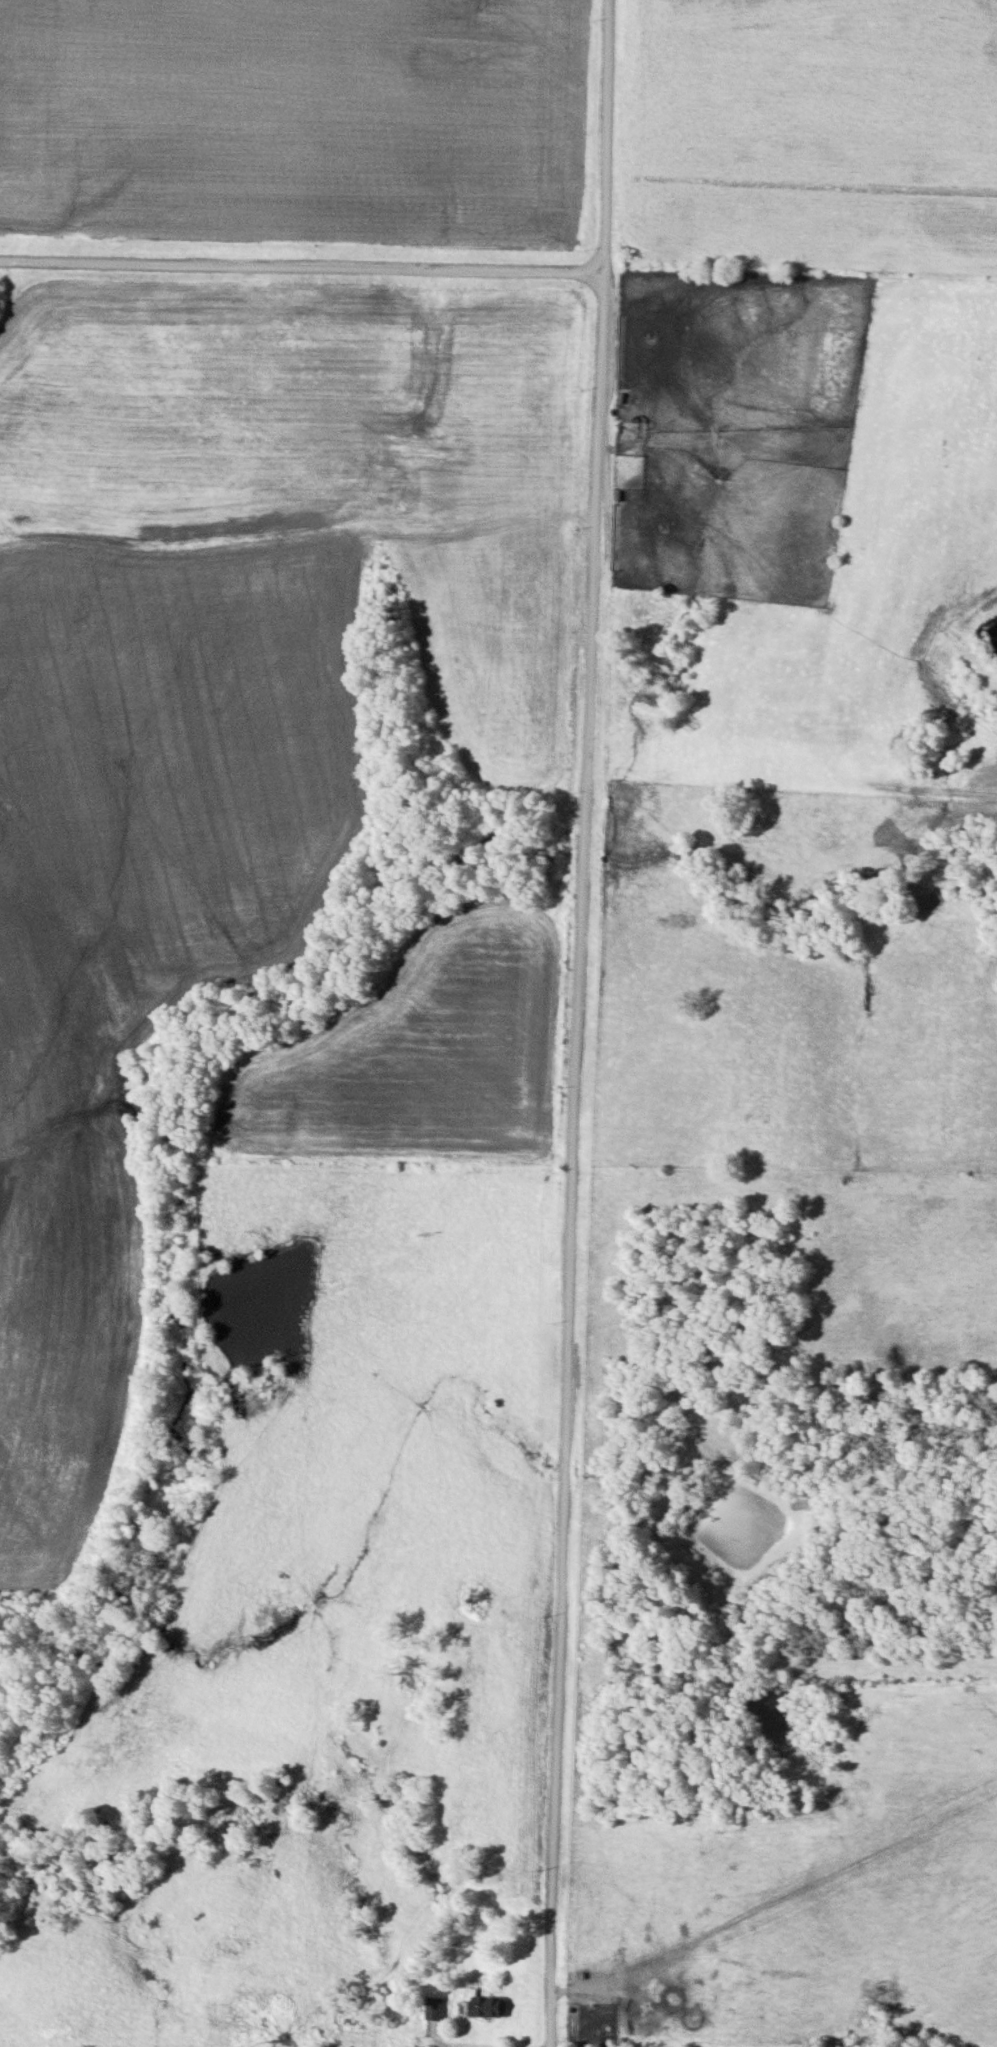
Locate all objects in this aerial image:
road: (301, 265)
road: (596, 1023)
building: (491, 2007)
building: (438, 2009)

